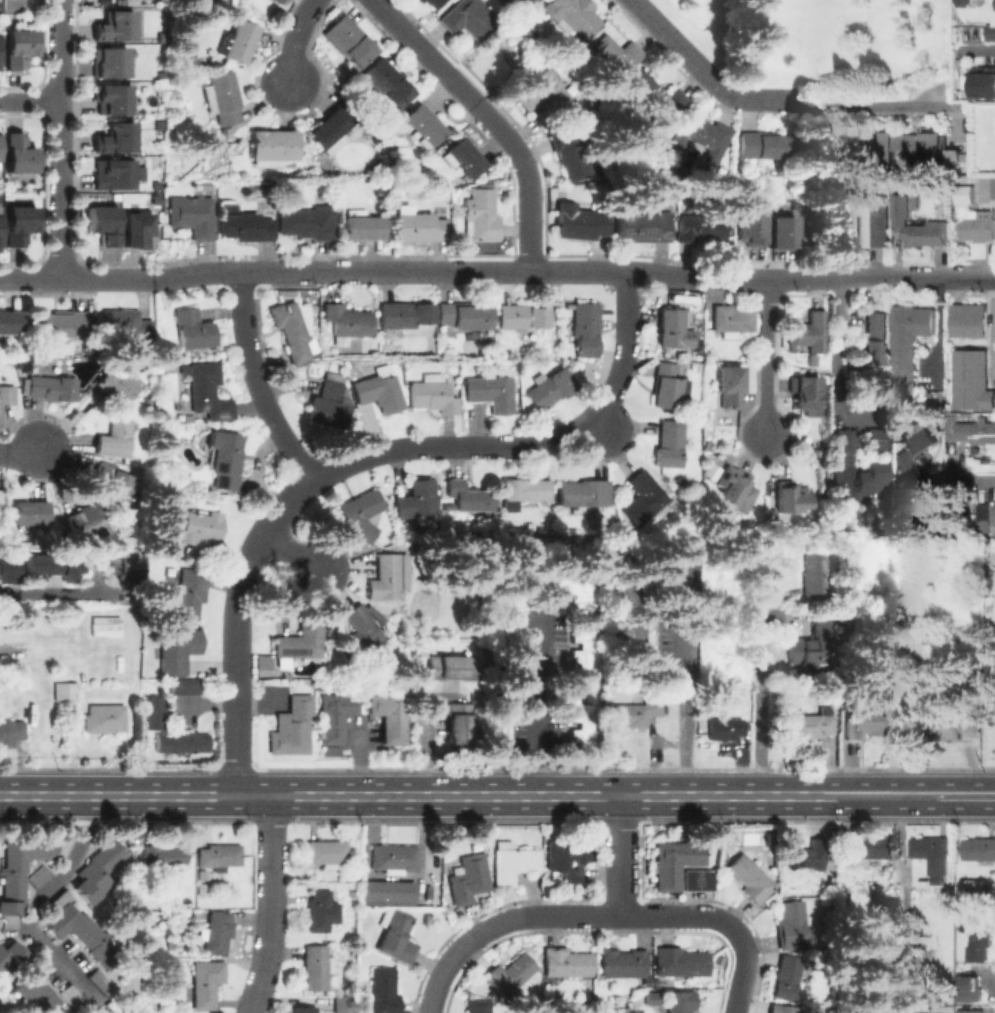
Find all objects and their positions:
building: (420, 0)
building: (510, 0)
building: (278, 1)
building: (162, 2)
building: (431, 2)
building: (989, 3)
building: (0, 10)
building: (573, 15)
building: (468, 18)
building: (113, 29)
building: (991, 29)
road: (293, 37)
building: (161, 38)
building: (350, 39)
building: (238, 41)
park: (831, 45)
building: (17, 50)
road: (981, 50)
building: (613, 56)
road: (689, 58)
building: (108, 65)
building: (385, 81)
building: (984, 84)
building: (541, 91)
building: (655, 96)
building: (222, 97)
road: (29, 101)
building: (112, 101)
road: (872, 102)
road: (488, 118)
building: (422, 124)
building: (160, 125)
building: (329, 129)
building: (701, 136)
building: (377, 139)
road: (58, 140)
building: (114, 141)
building: (764, 144)
building: (271, 146)
building: (911, 146)
building: (568, 151)
building: (461, 156)
building: (952, 156)
building: (18, 158)
building: (116, 176)
building: (155, 186)
building: (965, 194)
building: (154, 200)
building: (192, 214)
building: (482, 215)
building: (307, 221)
building: (580, 221)
building: (19, 222)
building: (103, 223)
building: (979, 225)
building: (245, 226)
building: (362, 226)
building: (419, 226)
building: (699, 226)
building: (642, 227)
building: (751, 228)
building: (849, 229)
building: (136, 230)
building: (784, 232)
building: (929, 233)
road: (282, 270)
road: (543, 271)
road: (915, 277)
road: (150, 278)
road: (800, 278)
road: (28, 279)
road: (765, 311)
building: (404, 314)
building: (464, 315)
building: (521, 316)
building: (969, 319)
building: (730, 320)
building: (9, 321)
building: (127, 322)
building: (345, 322)
building: (60, 323)
road: (243, 326)
building: (585, 328)
building: (670, 328)
building: (193, 329)
building: (808, 329)
building: (291, 331)
road: (835, 335)
building: (873, 337)
building: (910, 340)
road: (626, 350)
building: (812, 357)
building: (16, 358)
building: (27, 367)
building: (972, 380)
building: (116, 385)
building: (667, 385)
building: (729, 385)
building: (51, 386)
building: (550, 388)
road: (765, 388)
building: (805, 388)
building: (379, 389)
building: (206, 391)
building: (490, 392)
building: (432, 394)
building: (7, 395)
building: (936, 401)
building: (328, 404)
road: (605, 430)
building: (977, 431)
road: (277, 432)
building: (113, 437)
building: (873, 439)
building: (921, 441)
building: (669, 443)
road: (449, 448)
road: (19, 452)
building: (225, 458)
building: (899, 459)
building: (840, 464)
building: (865, 480)
road: (975, 481)
building: (112, 483)
building: (735, 486)
building: (524, 488)
building: (583, 492)
building: (789, 495)
building: (416, 497)
building: (469, 497)
building: (641, 497)
building: (2, 500)
building: (993, 511)
building: (30, 512)
building: (360, 514)
building: (949, 517)
building: (84, 518)
building: (201, 534)
building: (154, 540)
road: (290, 555)
building: (52, 564)
building: (125, 565)
building: (8, 566)
building: (674, 569)
building: (813, 574)
building: (385, 576)
building: (516, 582)
building: (575, 590)
building: (190, 592)
road: (59, 594)
road: (235, 629)
building: (354, 633)
building: (627, 636)
building: (299, 639)
building: (584, 645)
building: (809, 645)
building: (177, 649)
building: (992, 652)
building: (447, 665)
building: (511, 674)
building: (181, 686)
building: (65, 691)
road: (759, 705)
road: (536, 708)
building: (151, 711)
building: (635, 711)
building: (333, 715)
building: (576, 715)
road: (683, 715)
building: (388, 716)
building: (105, 718)
building: (864, 723)
building: (908, 723)
building: (957, 723)
building: (457, 724)
building: (810, 724)
building: (290, 726)
building: (723, 728)
building: (11, 732)
building: (498, 736)
building: (179, 741)
road: (463, 796)
road: (961, 796)
building: (980, 847)
building: (864, 848)
building: (935, 849)
building: (326, 851)
building: (219, 854)
building: (164, 855)
road: (619, 855)
building: (814, 855)
building: (569, 856)
building: (394, 858)
building: (672, 861)
building: (513, 862)
building: (18, 871)
building: (95, 871)
building: (201, 875)
building: (36, 876)
building: (751, 877)
building: (468, 878)
building: (695, 879)
building: (973, 888)
building: (202, 889)
building: (387, 891)
road: (36, 899)
road: (270, 905)
building: (322, 909)
road: (589, 915)
building: (790, 924)
building: (72, 927)
building: (216, 932)
building: (397, 935)
building: (976, 937)
building: (7, 951)
building: (568, 962)
building: (624, 962)
building: (680, 962)
building: (317, 966)
road: (746, 969)
building: (510, 975)
building: (786, 977)
building: (206, 982)
road: (986, 982)
road: (444, 984)
building: (906, 988)
building: (967, 988)
building: (34, 992)
building: (382, 992)
building: (70, 997)
building: (651, 998)
building: (680, 1002)
building: (342, 1004)
building: (478, 1005)
building: (783, 1008)
building: (304, 1009)
road: (891, 1009)
building: (861, 1010)
building: (973, 1011)

